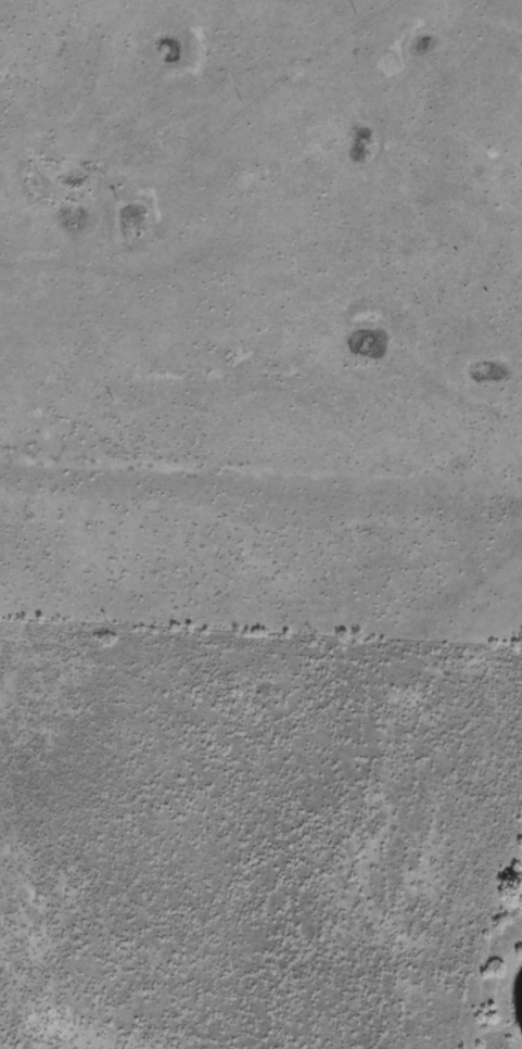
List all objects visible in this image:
road: (515, 7)

